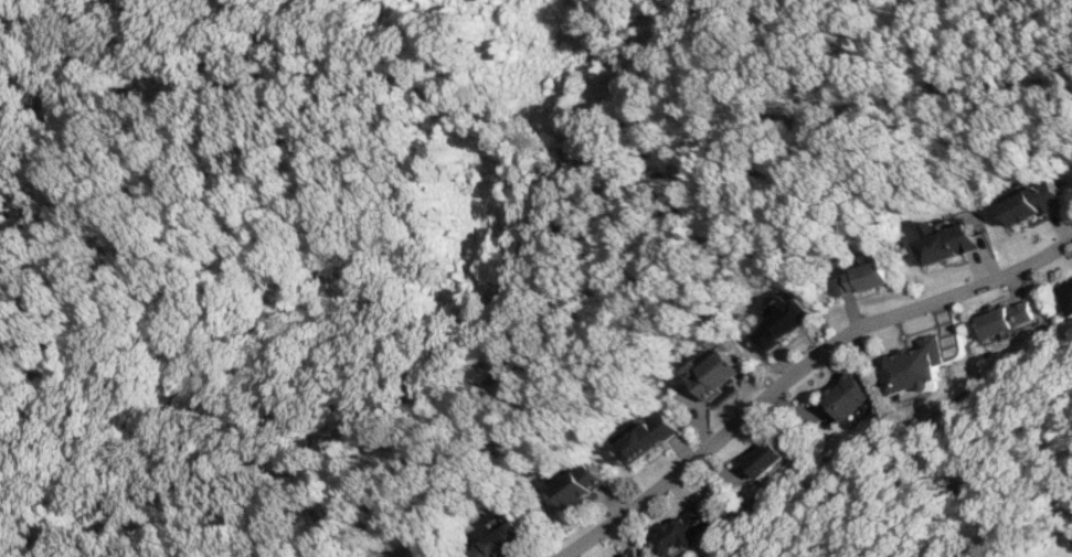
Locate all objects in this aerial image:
building: (1033, 202)
building: (946, 244)
building: (861, 278)
building: (1065, 294)
building: (1006, 320)
building: (783, 323)
building: (916, 365)
road: (800, 369)
building: (713, 372)
building: (851, 395)
building: (647, 438)
building: (766, 458)
building: (580, 484)
building: (684, 531)
building: (502, 542)
building: (634, 554)

